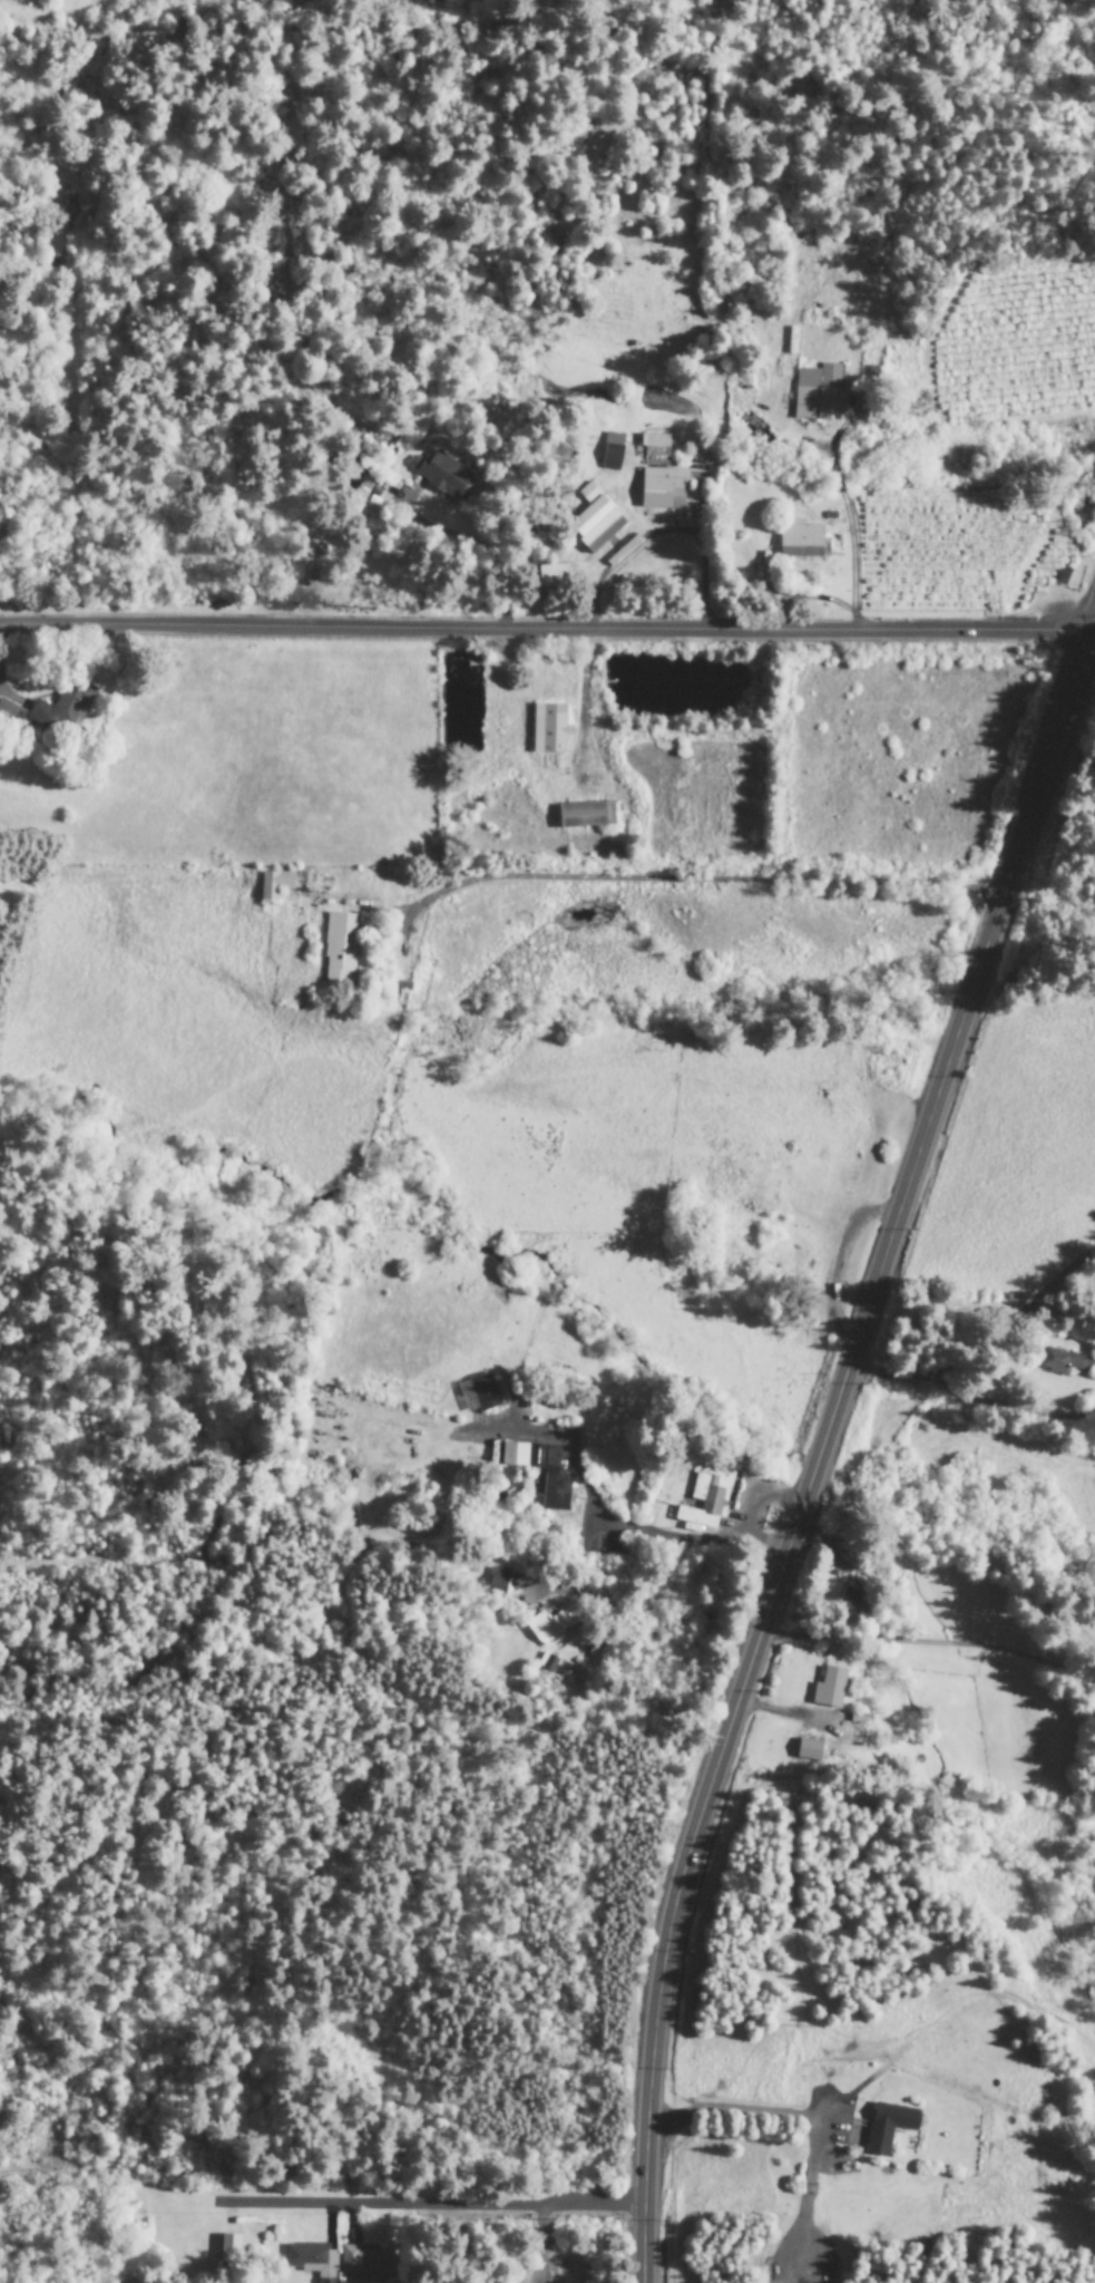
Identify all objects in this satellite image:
building: (817, 394)
building: (654, 445)
building: (610, 453)
building: (441, 476)
building: (661, 489)
building: (593, 522)
building: (798, 541)
building: (558, 576)
road: (545, 630)
road: (1093, 633)
building: (49, 711)
building: (547, 730)
building: (584, 815)
road: (682, 876)
building: (273, 885)
building: (338, 950)
road: (980, 1345)
building: (1059, 1362)
building: (477, 1393)
road: (1019, 1399)
road: (825, 1442)
building: (554, 1492)
building: (704, 1496)
road: (612, 1527)
building: (496, 1582)
building: (853, 1601)
building: (550, 1624)
road: (929, 1641)
building: (827, 1689)
building: (806, 1750)
road: (742, 2120)
building: (887, 2127)
road: (430, 2205)
building: (227, 2248)
building: (310, 2260)
building: (364, 2262)
building: (324, 2282)

